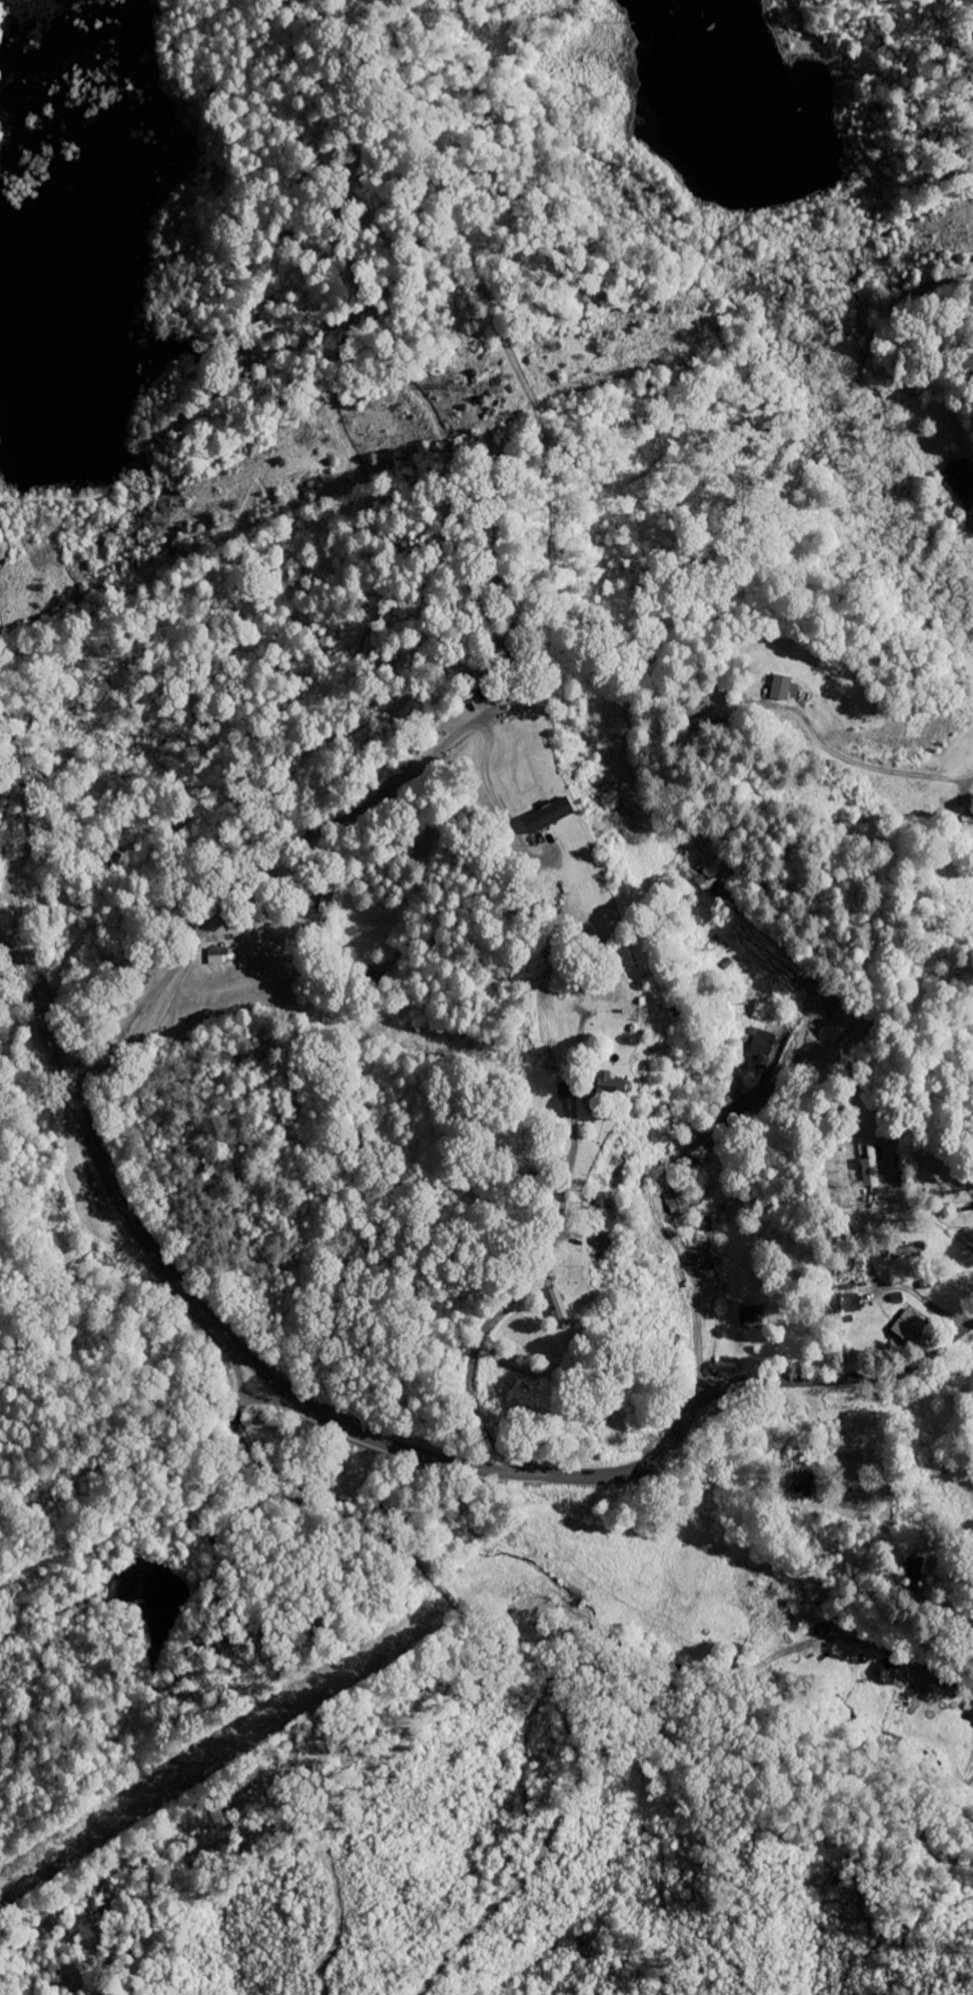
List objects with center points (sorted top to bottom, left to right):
road: (463, 351)
power tower: (503, 391)
building: (962, 476)
road: (59, 497)
road: (953, 515)
road: (17, 549)
building: (784, 686)
road: (878, 769)
building: (554, 814)
road: (265, 863)
building: (220, 955)
building: (626, 1089)
building: (678, 1201)
road: (660, 1222)
road: (542, 1261)
road: (920, 1298)
building: (855, 1303)
building: (912, 1321)
road: (381, 1441)
building: (807, 1479)
road: (139, 1524)
road: (518, 1650)
building: (893, 1672)
road: (543, 1846)

